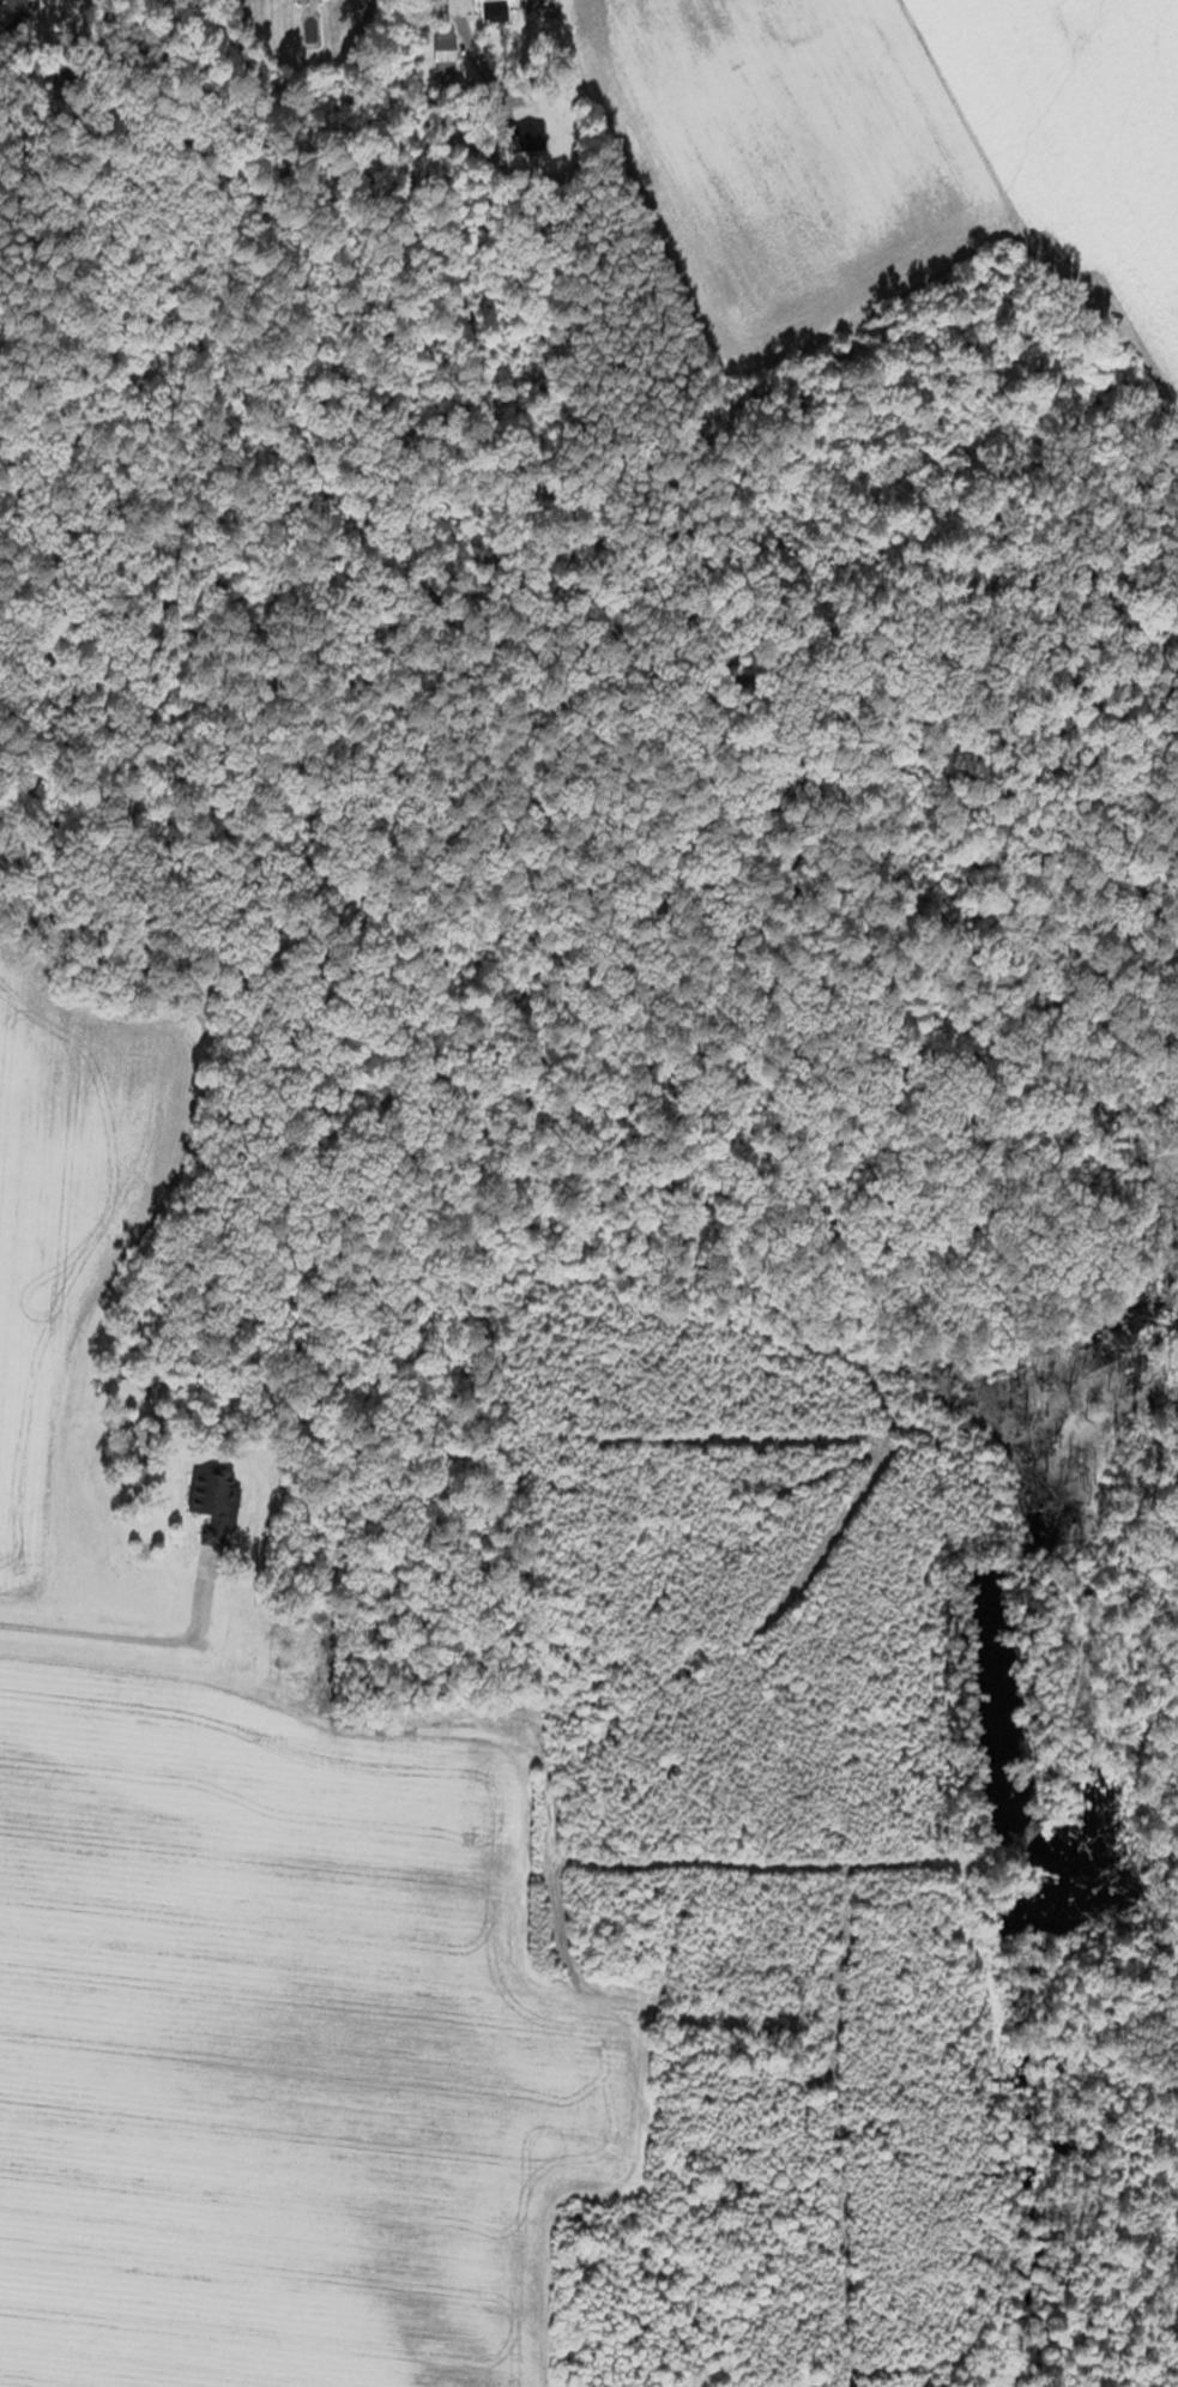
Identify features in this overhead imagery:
building: (215, 1505)

